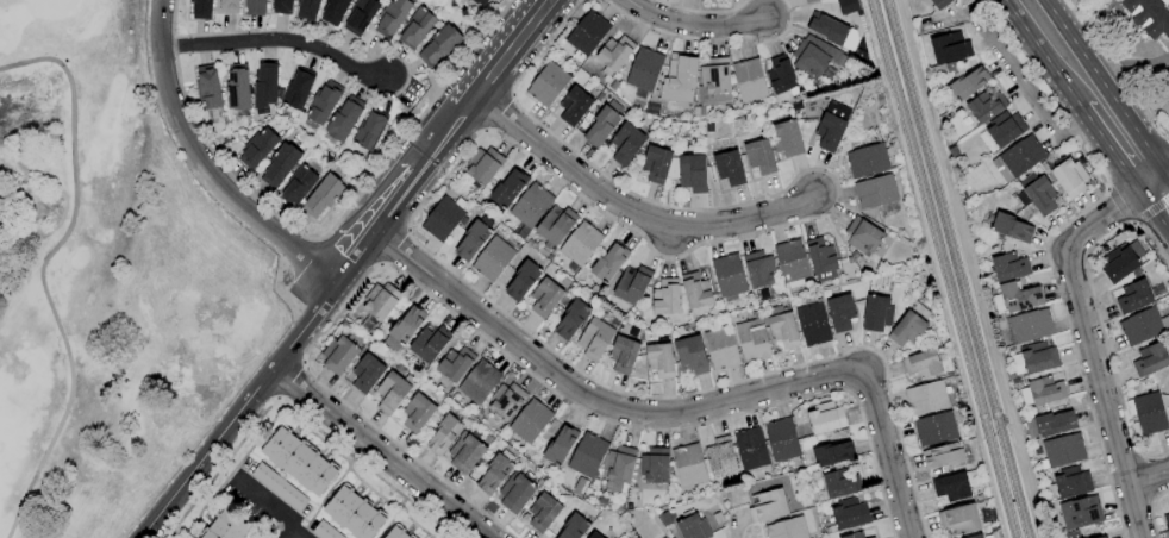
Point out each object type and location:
building: (479, 1)
building: (809, 1)
building: (939, 4)
building: (229, 6)
building: (845, 6)
building: (255, 7)
building: (282, 7)
building: (307, 8)
building: (201, 10)
road: (699, 10)
road: (1019, 10)
road: (1037, 10)
building: (333, 11)
building: (361, 15)
building: (392, 17)
building: (1148, 17)
road: (695, 21)
building: (417, 27)
building: (827, 29)
building: (586, 35)
road: (277, 37)
road: (707, 37)
building: (439, 45)
road: (511, 49)
building: (949, 50)
building: (613, 54)
building: (817, 56)
road: (1065, 58)
road: (1124, 64)
road: (1118, 68)
building: (644, 69)
building: (781, 75)
building: (679, 80)
building: (749, 80)
building: (714, 82)
building: (969, 83)
building: (548, 85)
road: (1021, 85)
building: (264, 86)
building: (208, 87)
building: (237, 88)
building: (296, 90)
building: (323, 102)
road: (1096, 102)
building: (574, 106)
building: (986, 106)
road: (1143, 113)
building: (344, 119)
building: (602, 124)
building: (831, 126)
building: (369, 130)
building: (1001, 131)
building: (786, 139)
building: (625, 143)
road: (1124, 143)
road: (515, 145)
building: (257, 149)
building: (759, 157)
building: (1018, 158)
road: (205, 161)
building: (867, 161)
building: (280, 164)
building: (656, 164)
building: (483, 165)
building: (729, 168)
building: (689, 170)
road: (1159, 174)
building: (1067, 175)
building: (298, 186)
road: (401, 187)
building: (507, 189)
building: (875, 192)
building: (1038, 193)
road: (1159, 193)
building: (321, 195)
building: (530, 205)
road: (1119, 206)
road: (631, 211)
road: (1154, 214)
building: (442, 219)
building: (555, 225)
building: (1009, 227)
building: (863, 234)
road: (321, 237)
building: (474, 238)
road: (1050, 243)
building: (580, 244)
road: (392, 248)
building: (821, 258)
building: (493, 259)
building: (608, 263)
building: (792, 263)
building: (1119, 264)
railway: (940, 268)
building: (1007, 268)
building: (759, 269)
railway: (955, 269)
road: (42, 271)
building: (729, 276)
park: (106, 277)
building: (521, 281)
building: (631, 284)
building: (696, 290)
building: (665, 296)
building: (1134, 296)
building: (544, 298)
building: (1015, 298)
building: (380, 300)
building: (840, 312)
building: (876, 313)
road: (1098, 315)
building: (571, 319)
road: (305, 324)
building: (813, 324)
building: (909, 326)
building: (1029, 326)
building: (1143, 326)
building: (781, 327)
building: (404, 329)
building: (594, 339)
building: (752, 340)
road: (1086, 340)
building: (429, 343)
road: (492, 344)
building: (721, 349)
building: (340, 352)
building: (623, 355)
building: (690, 355)
building: (1034, 358)
building: (1150, 359)
building: (659, 361)
building: (455, 363)
building: (923, 364)
building: (365, 373)
building: (479, 382)
road: (290, 384)
building: (1042, 390)
building: (392, 393)
building: (926, 398)
building: (506, 401)
building: (420, 409)
road: (676, 413)
building: (1148, 413)
road: (294, 415)
building: (825, 418)
road: (270, 419)
building: (531, 421)
building: (1049, 424)
building: (934, 428)
building: (443, 434)
building: (782, 440)
building: (560, 445)
building: (751, 449)
road: (205, 451)
road: (380, 451)
building: (1062, 451)
building: (465, 453)
building: (832, 453)
building: (587, 455)
building: (943, 455)
building: (720, 458)
building: (299, 461)
building: (688, 464)
building: (655, 465)
building: (618, 469)
building: (495, 473)
road: (227, 474)
road: (1148, 477)
road: (233, 478)
building: (1073, 482)
building: (837, 484)
building: (956, 486)
building: (279, 487)
building: (515, 493)
building: (768, 506)
road: (271, 508)
road: (1151, 509)
building: (543, 512)
building: (354, 513)
building: (1081, 513)
building: (845, 515)
building: (958, 520)
building: (1167, 521)
building: (225, 526)
building: (693, 526)
building: (574, 527)
building: (787, 528)
building: (325, 531)
building: (1087, 532)
building: (396, 533)
building: (1071, 534)
building: (594, 536)
building: (855, 536)
building: (977, 536)
building: (256, 537)
road: (290, 537)
building: (871, 537)
building: (1104, 537)

